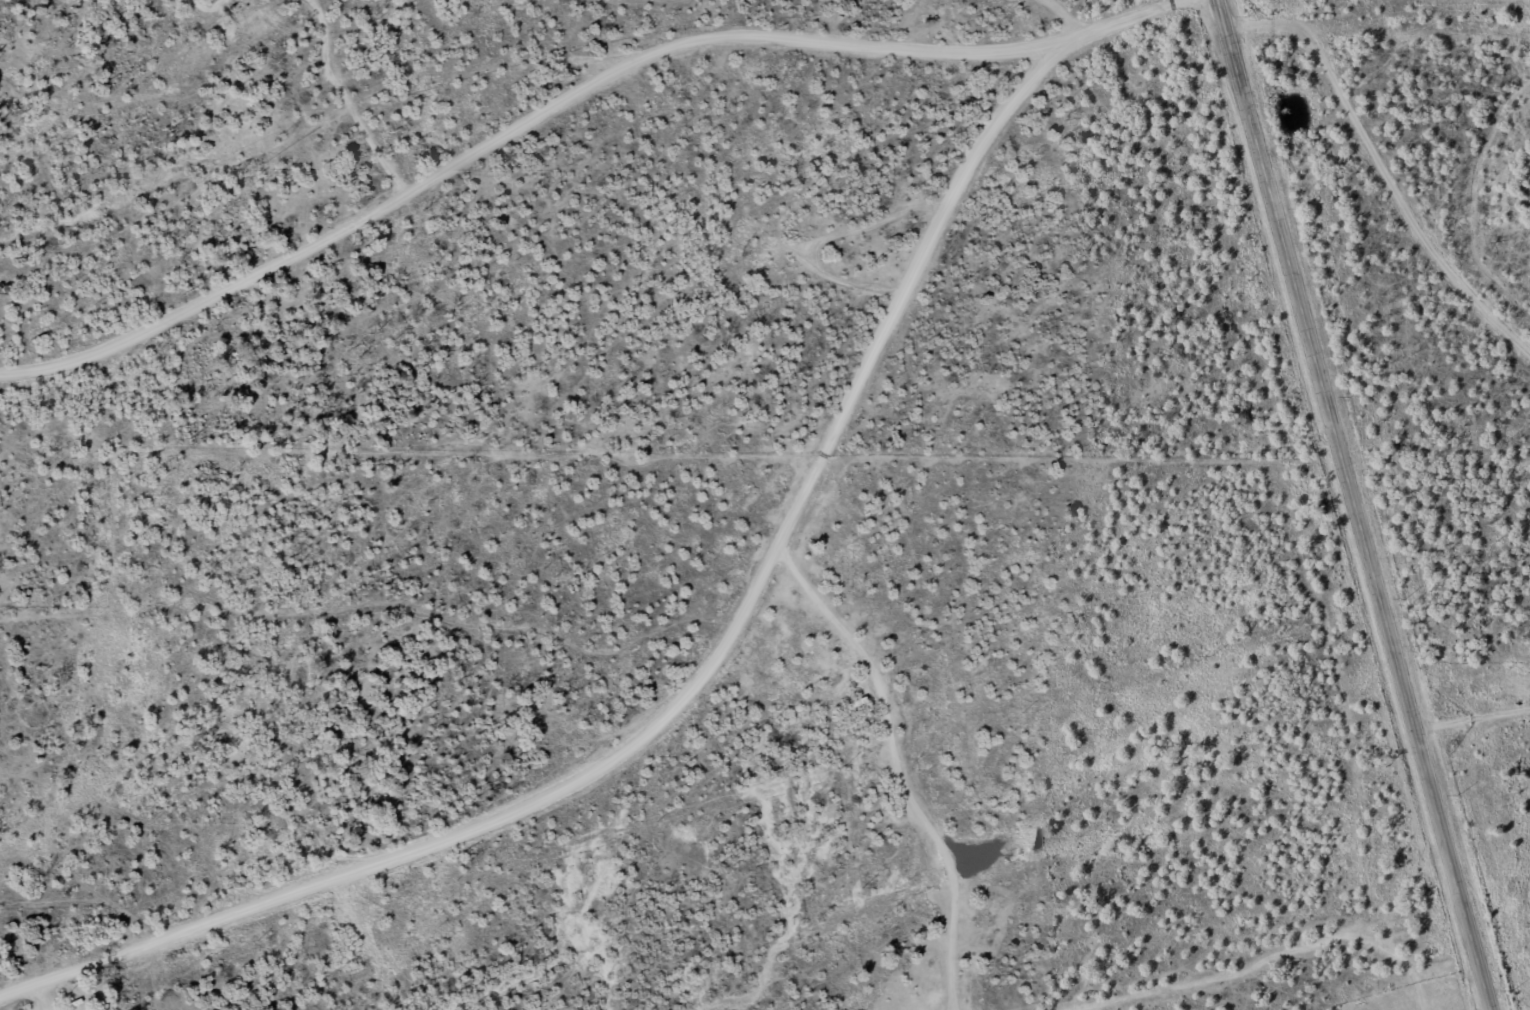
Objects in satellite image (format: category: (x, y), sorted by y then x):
road: (1125, 11)
road: (1115, 23)
road: (1422, 48)
road: (526, 128)
road: (1406, 175)
road: (1506, 181)
road: (1371, 505)
road: (694, 685)
road: (1482, 732)

